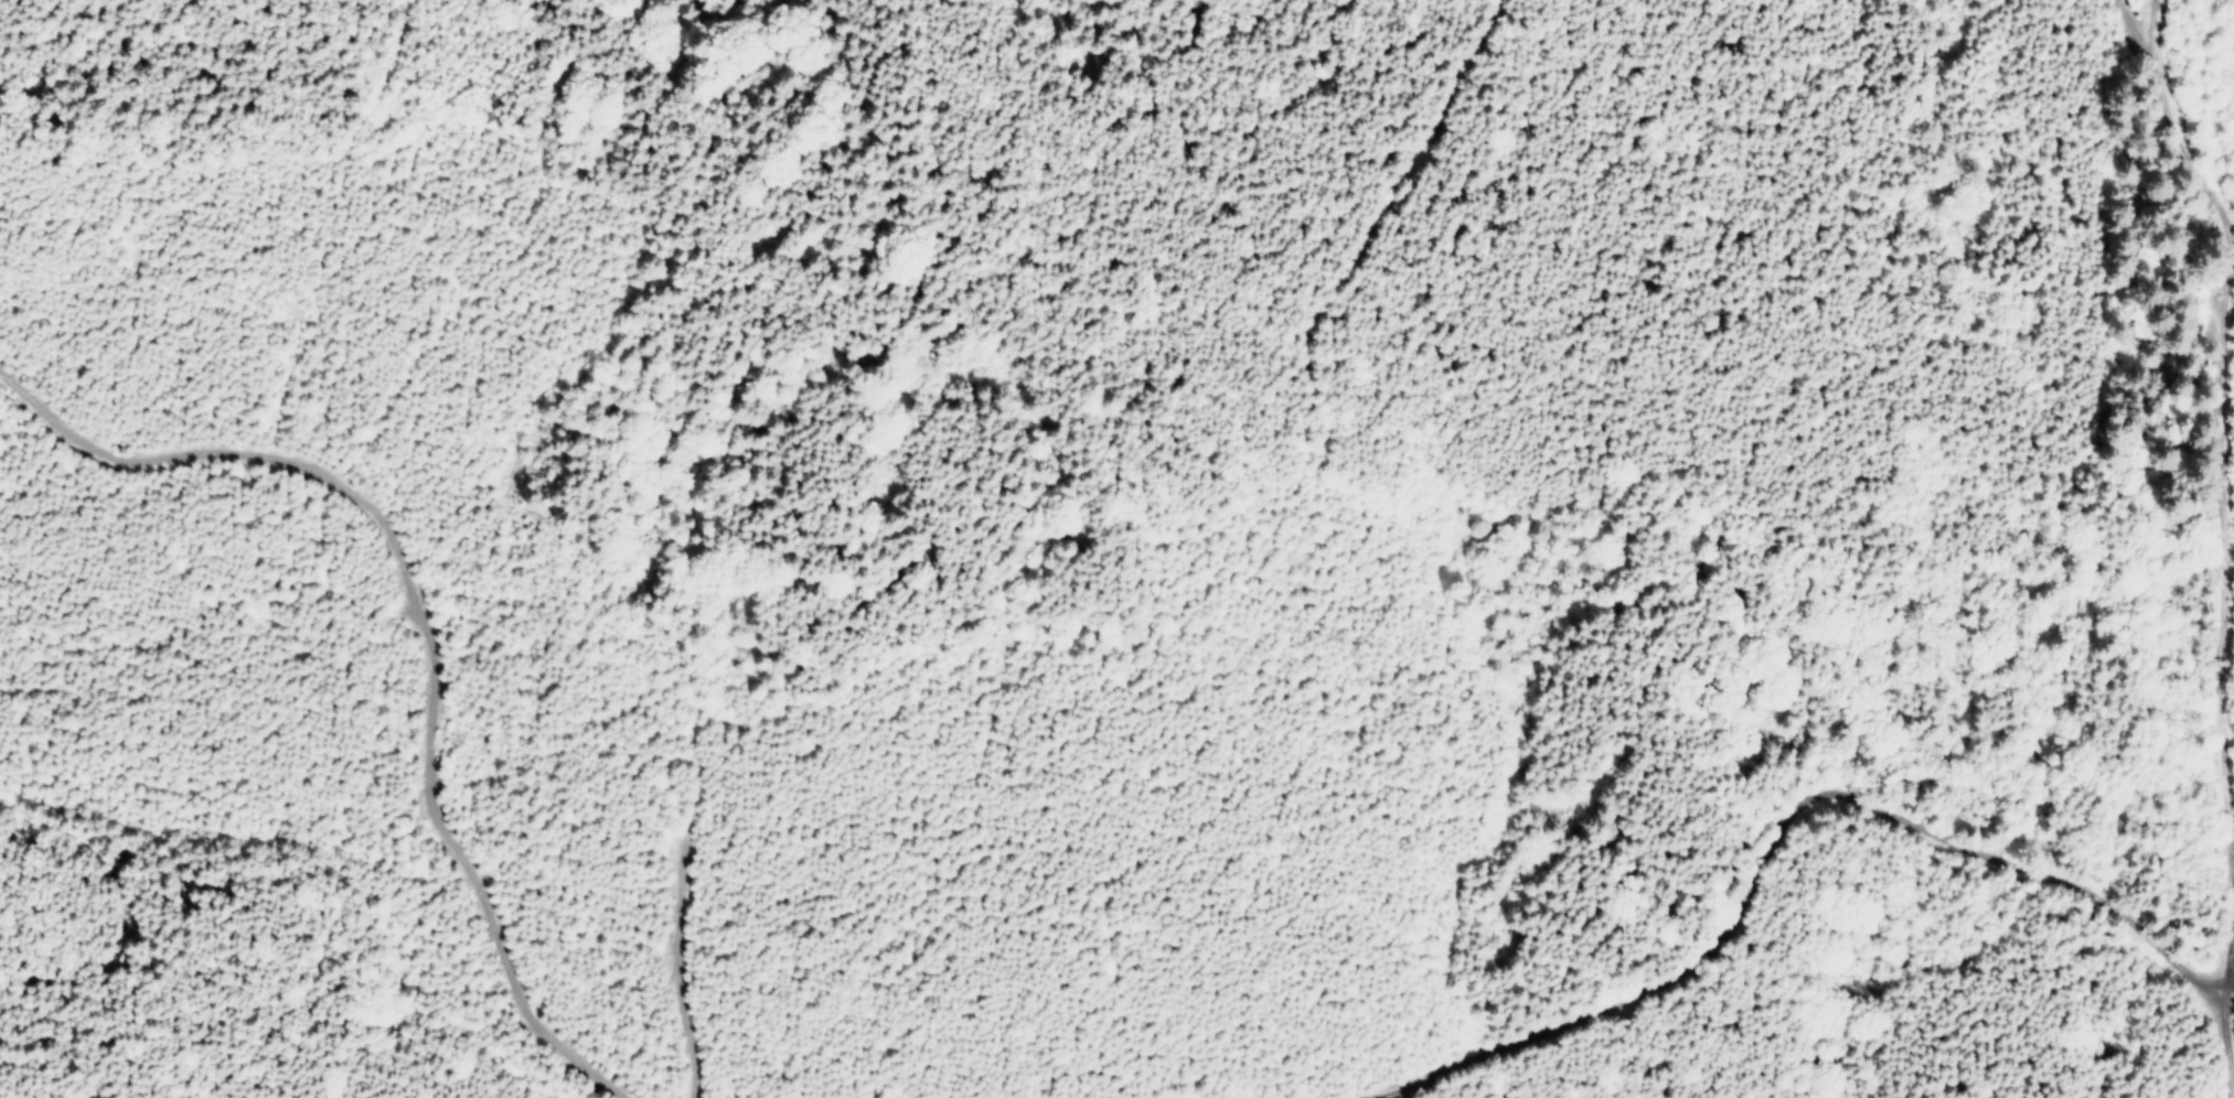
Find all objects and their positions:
road: (2152, 348)

